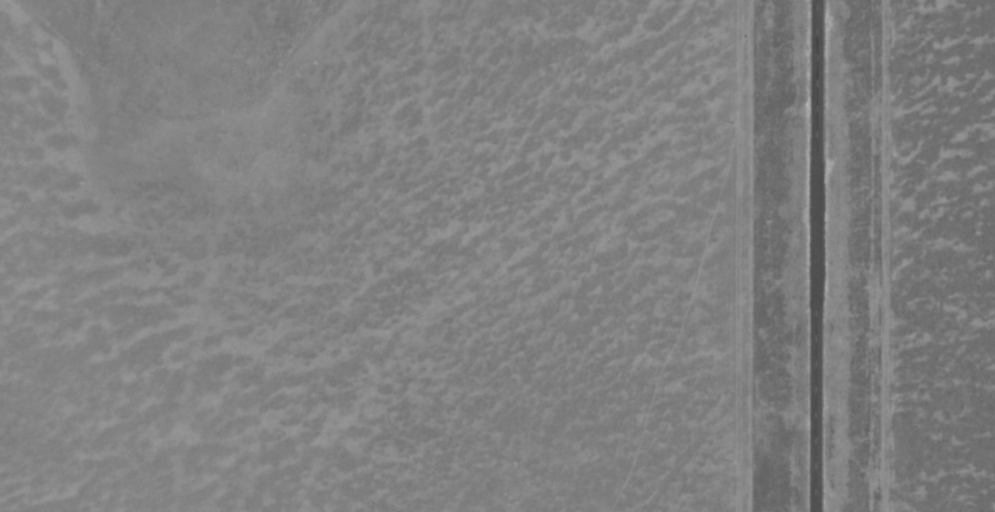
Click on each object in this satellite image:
road: (814, 256)

